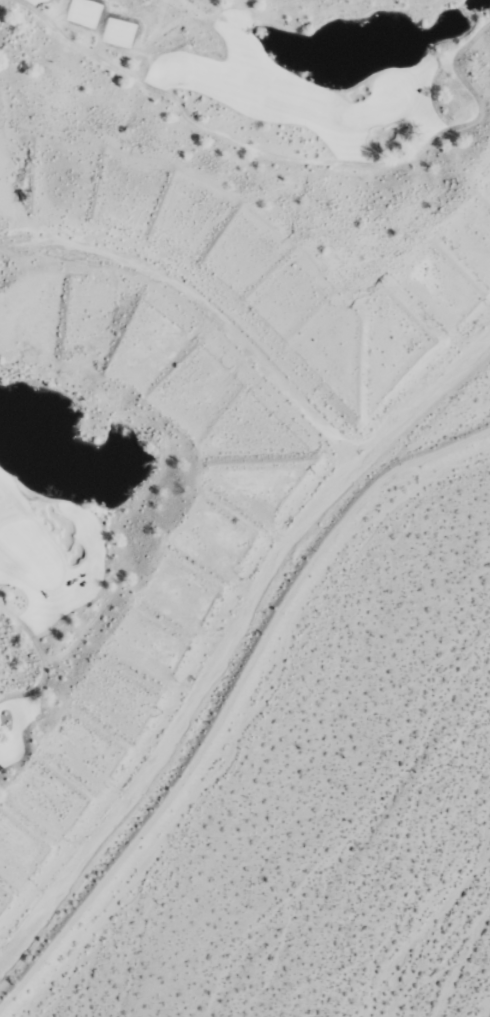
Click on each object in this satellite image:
park: (276, 100)
park: (381, 108)
park: (31, 557)
park: (48, 598)
road: (42, 660)

